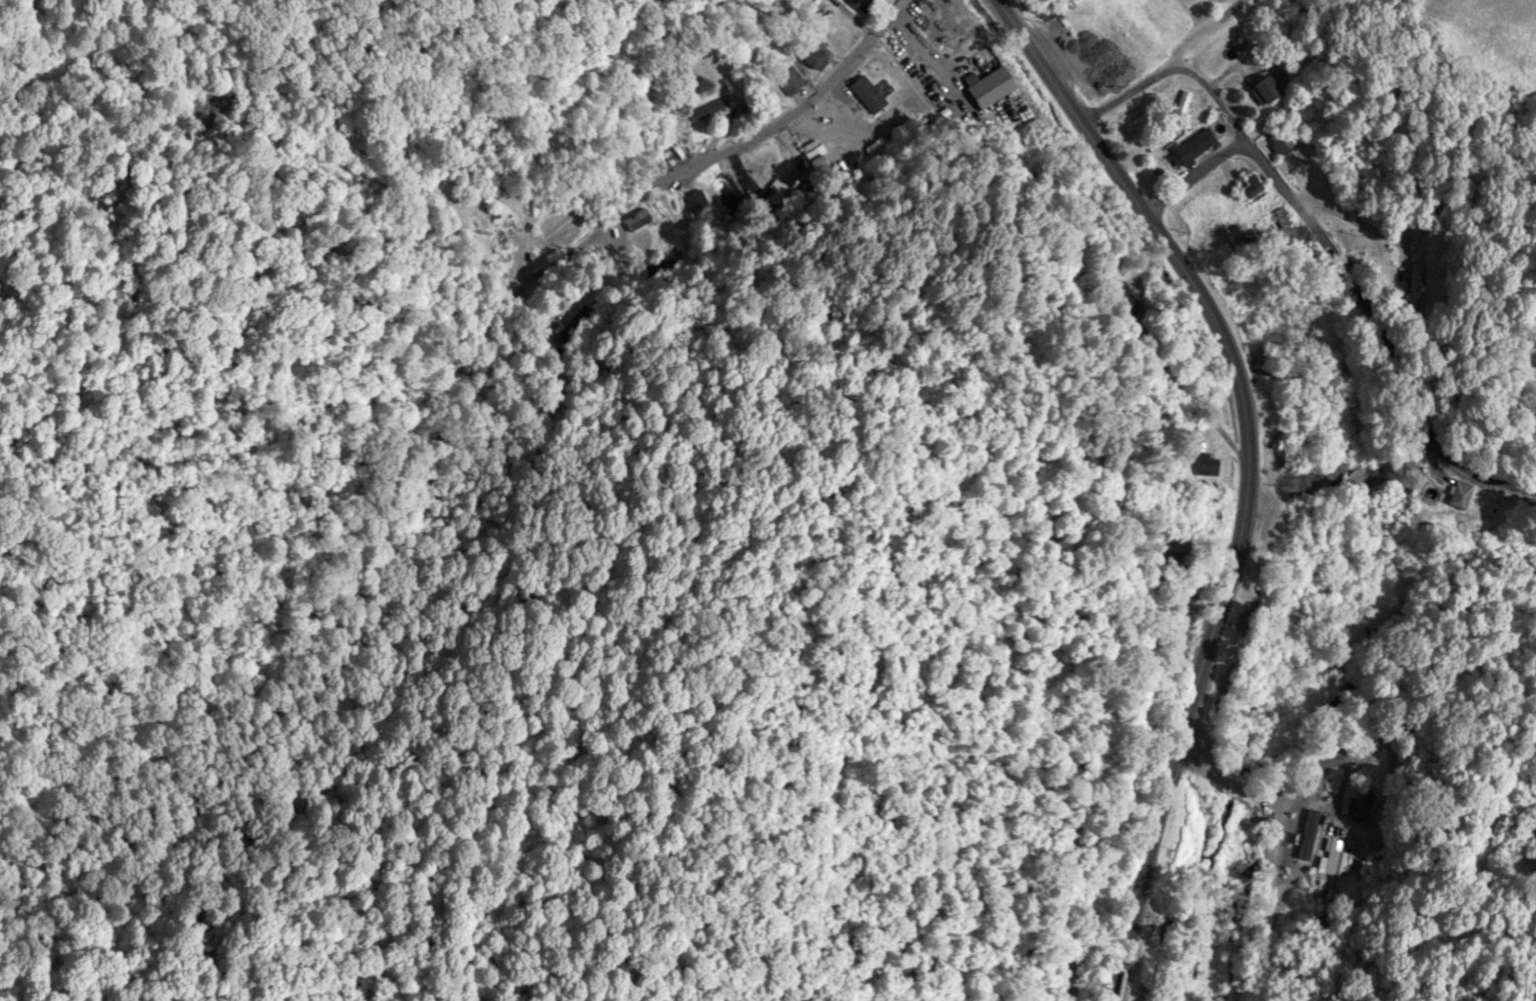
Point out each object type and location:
building: (860, 3)
building: (1083, 40)
building: (960, 52)
building: (810, 55)
road: (1191, 71)
building: (789, 80)
building: (1265, 87)
building: (866, 93)
road: (805, 103)
building: (706, 109)
building: (1179, 111)
building: (1200, 140)
building: (1281, 142)
building: (813, 155)
building: (761, 172)
road: (1208, 174)
building: (1250, 186)
building: (721, 190)
building: (637, 218)
building: (1416, 286)
building: (1122, 299)
road: (1375, 339)
building: (1206, 463)
road: (1248, 474)
building: (1459, 493)
building: (1207, 507)
building: (1179, 539)
building: (1177, 601)
road: (1223, 782)
road: (1282, 800)
building: (1355, 808)
building: (1489, 821)
building: (1330, 855)

